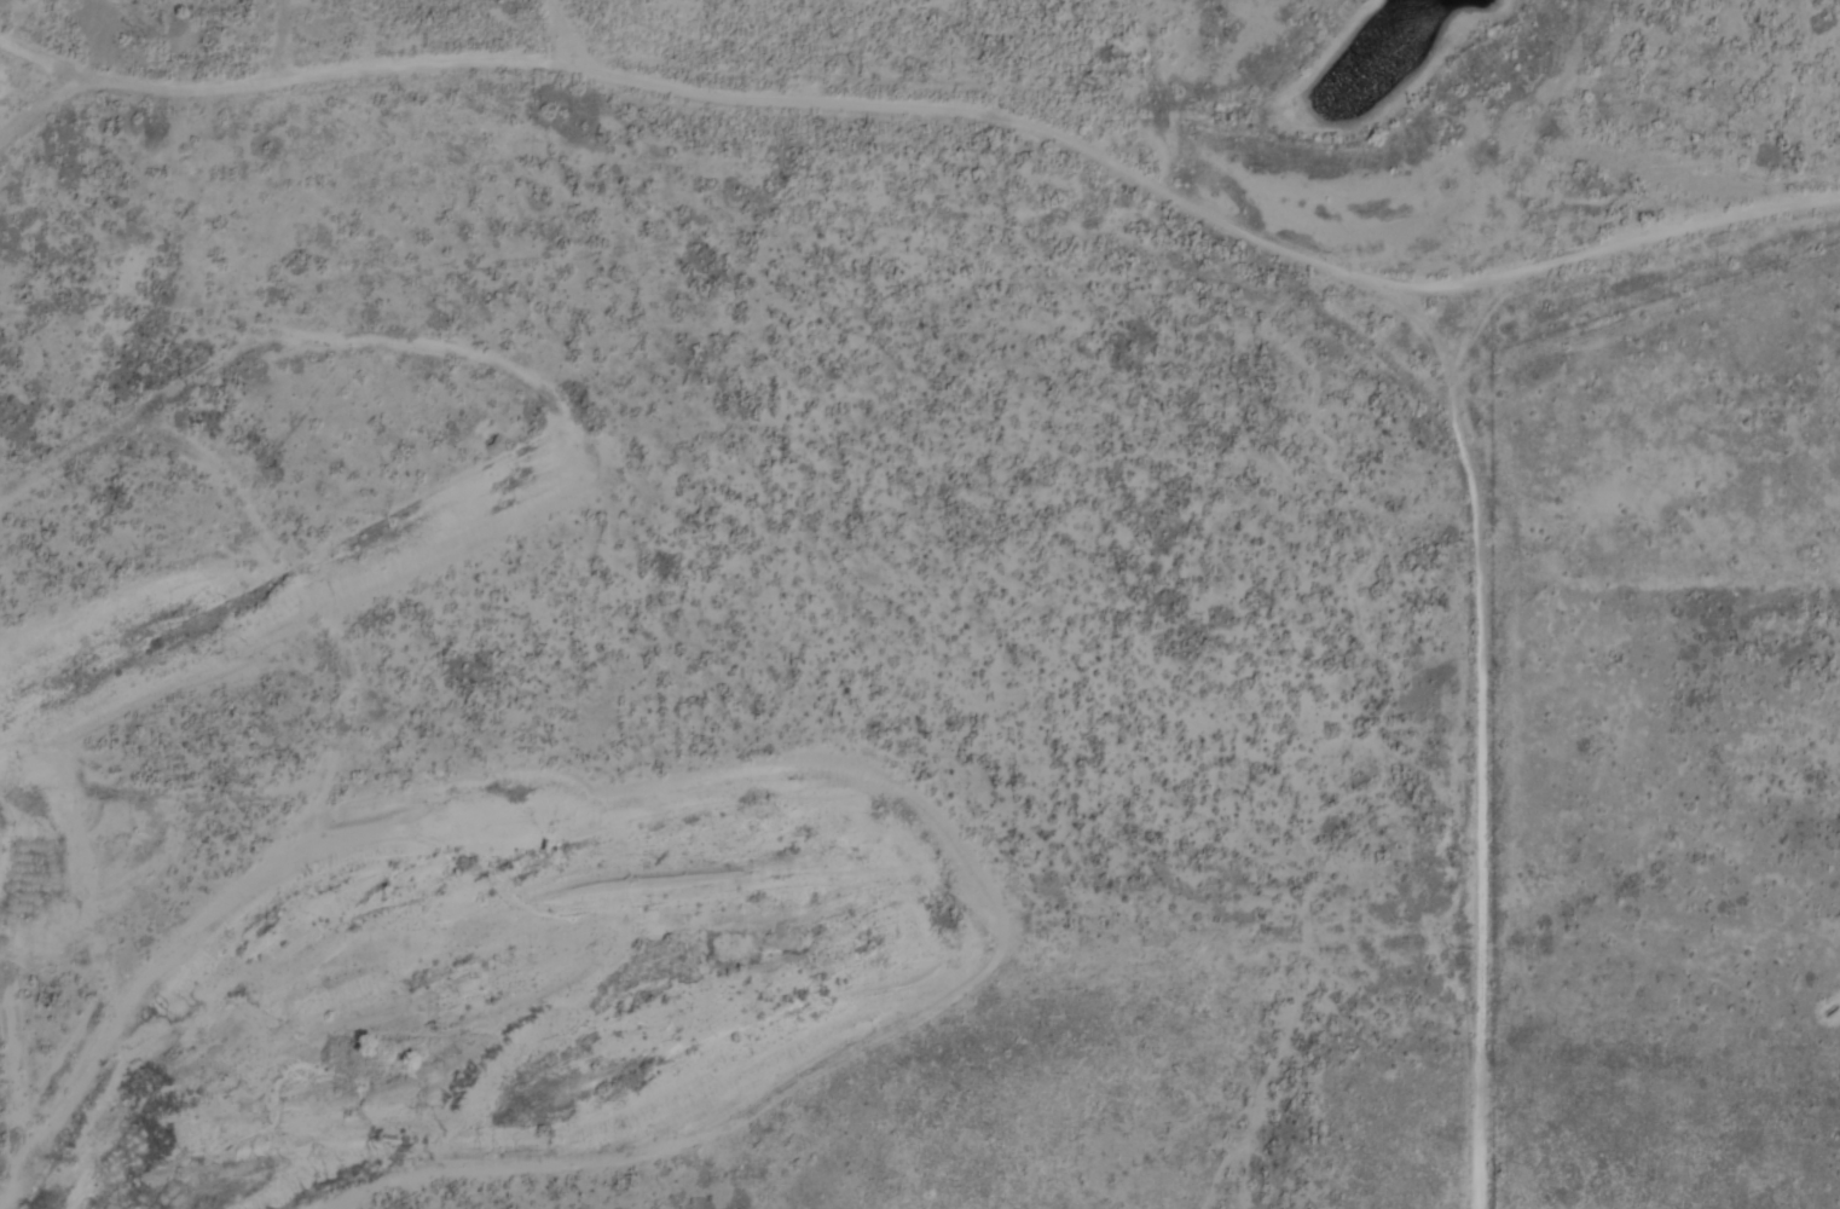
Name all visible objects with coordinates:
road: (1630, 268)
road: (1485, 814)

